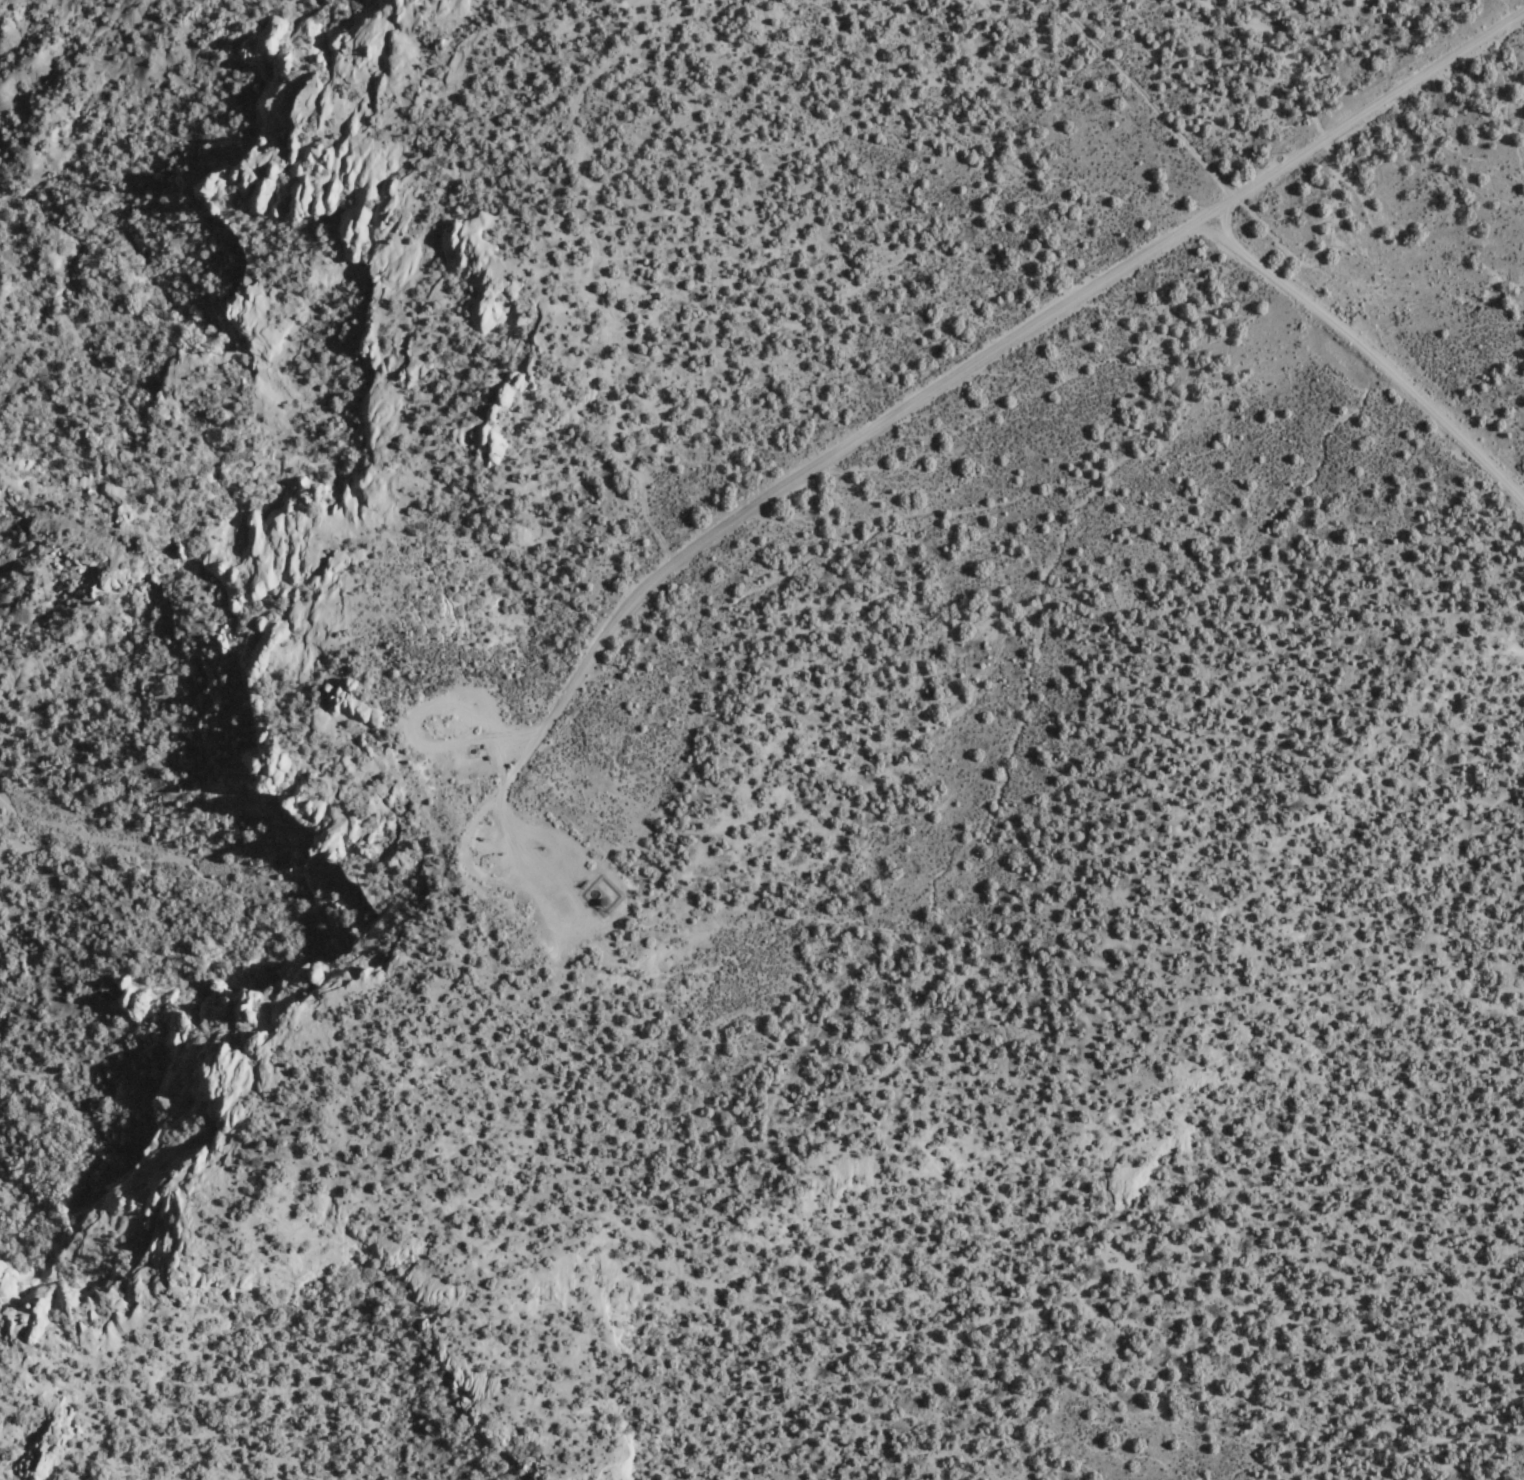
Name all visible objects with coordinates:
road: (938, 388)

